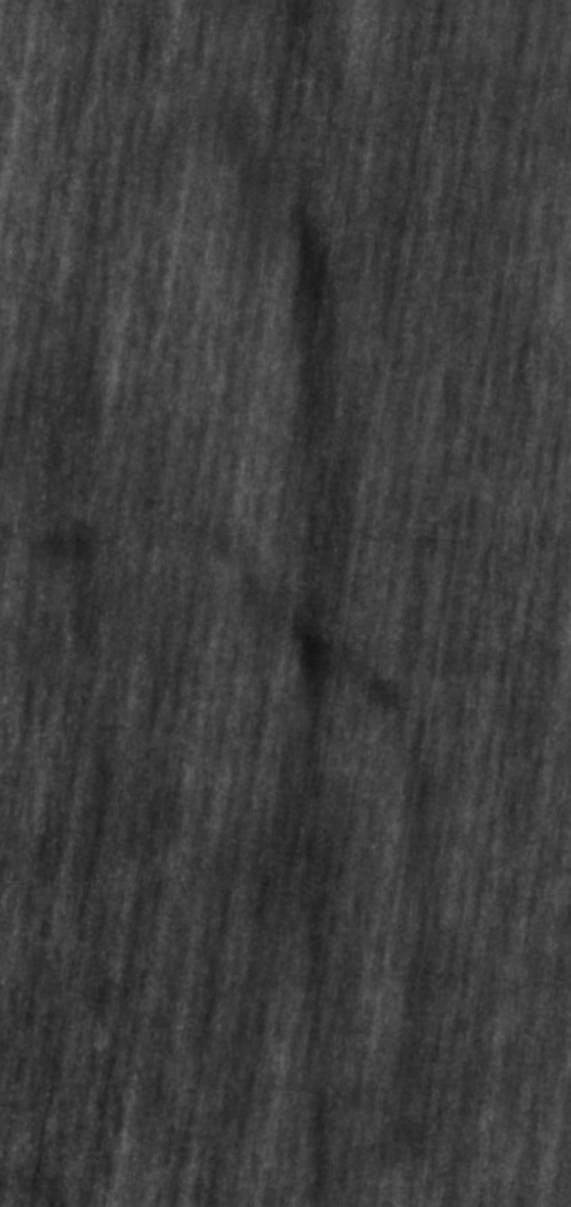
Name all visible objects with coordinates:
crop: (285, 603)

